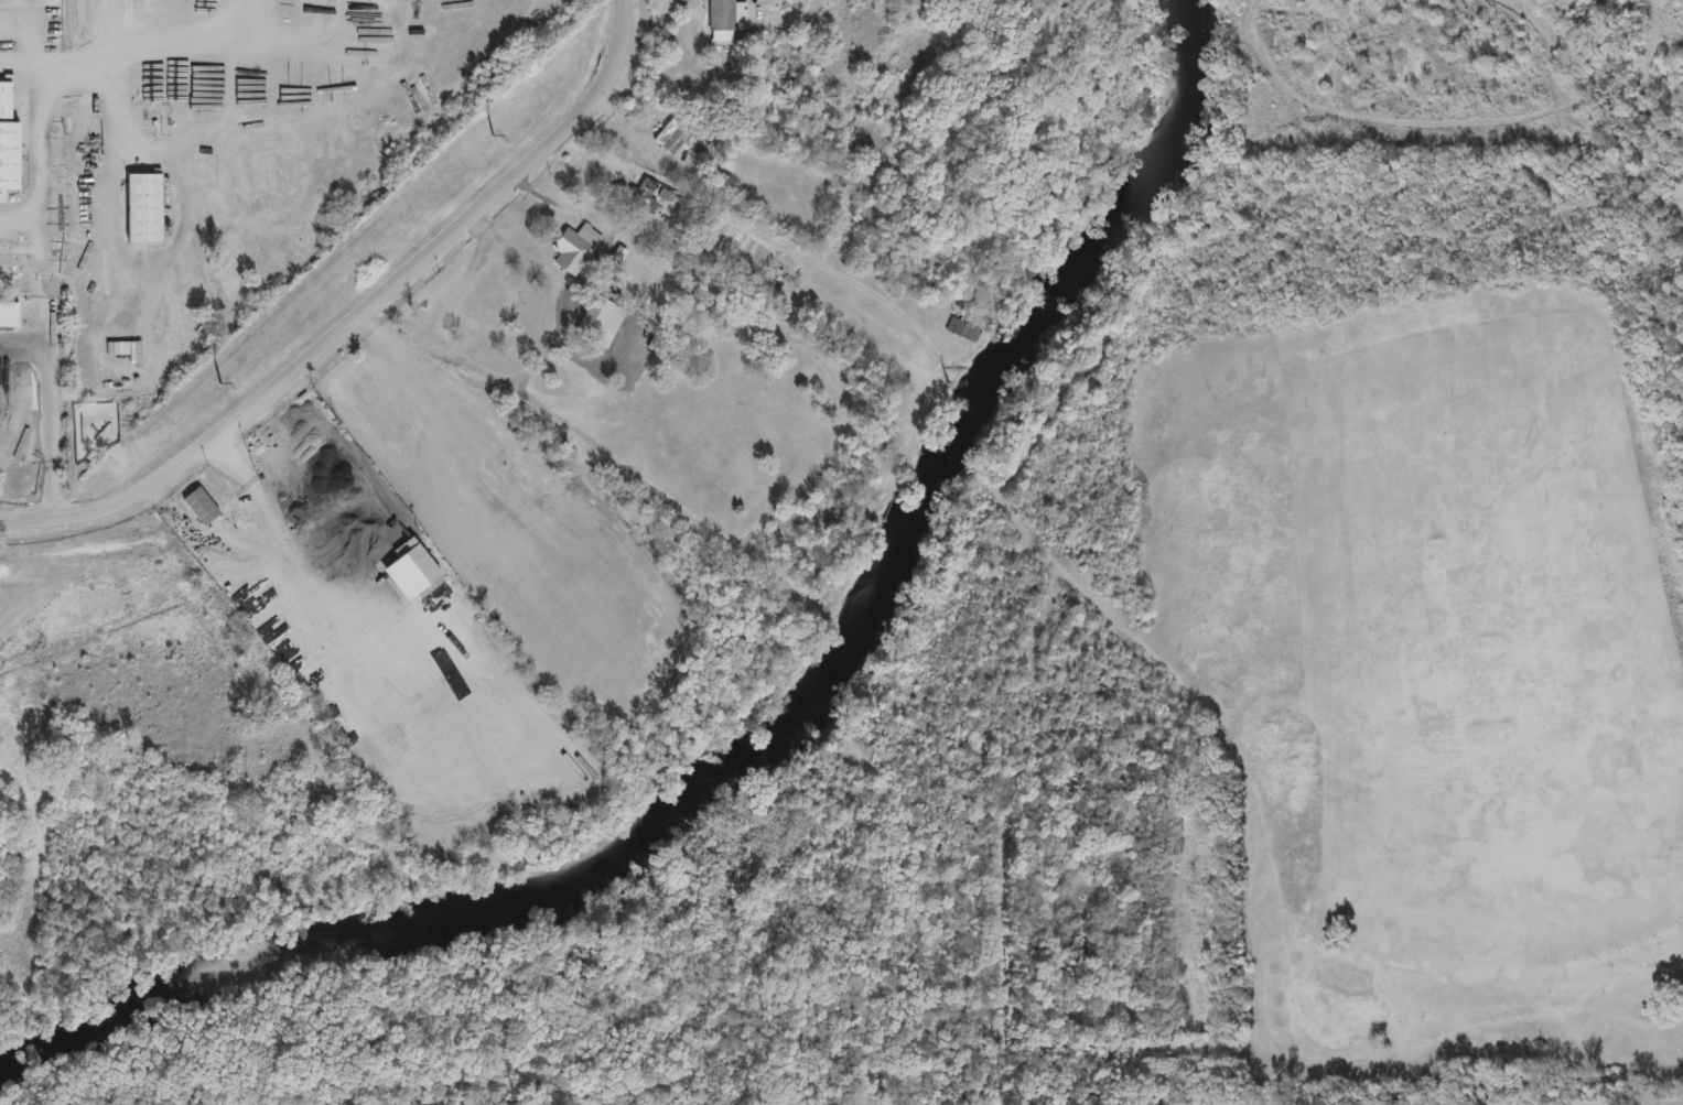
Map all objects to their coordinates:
building: (722, 14)
road: (14, 24)
power tower: (494, 133)
building: (677, 133)
building: (9, 141)
building: (669, 194)
building: (643, 197)
building: (144, 208)
road: (760, 234)
building: (575, 247)
road: (359, 312)
building: (595, 316)
road: (456, 356)
power tower: (222, 381)
road: (44, 410)
building: (310, 441)
building: (202, 505)
building: (411, 567)
river: (783, 736)

